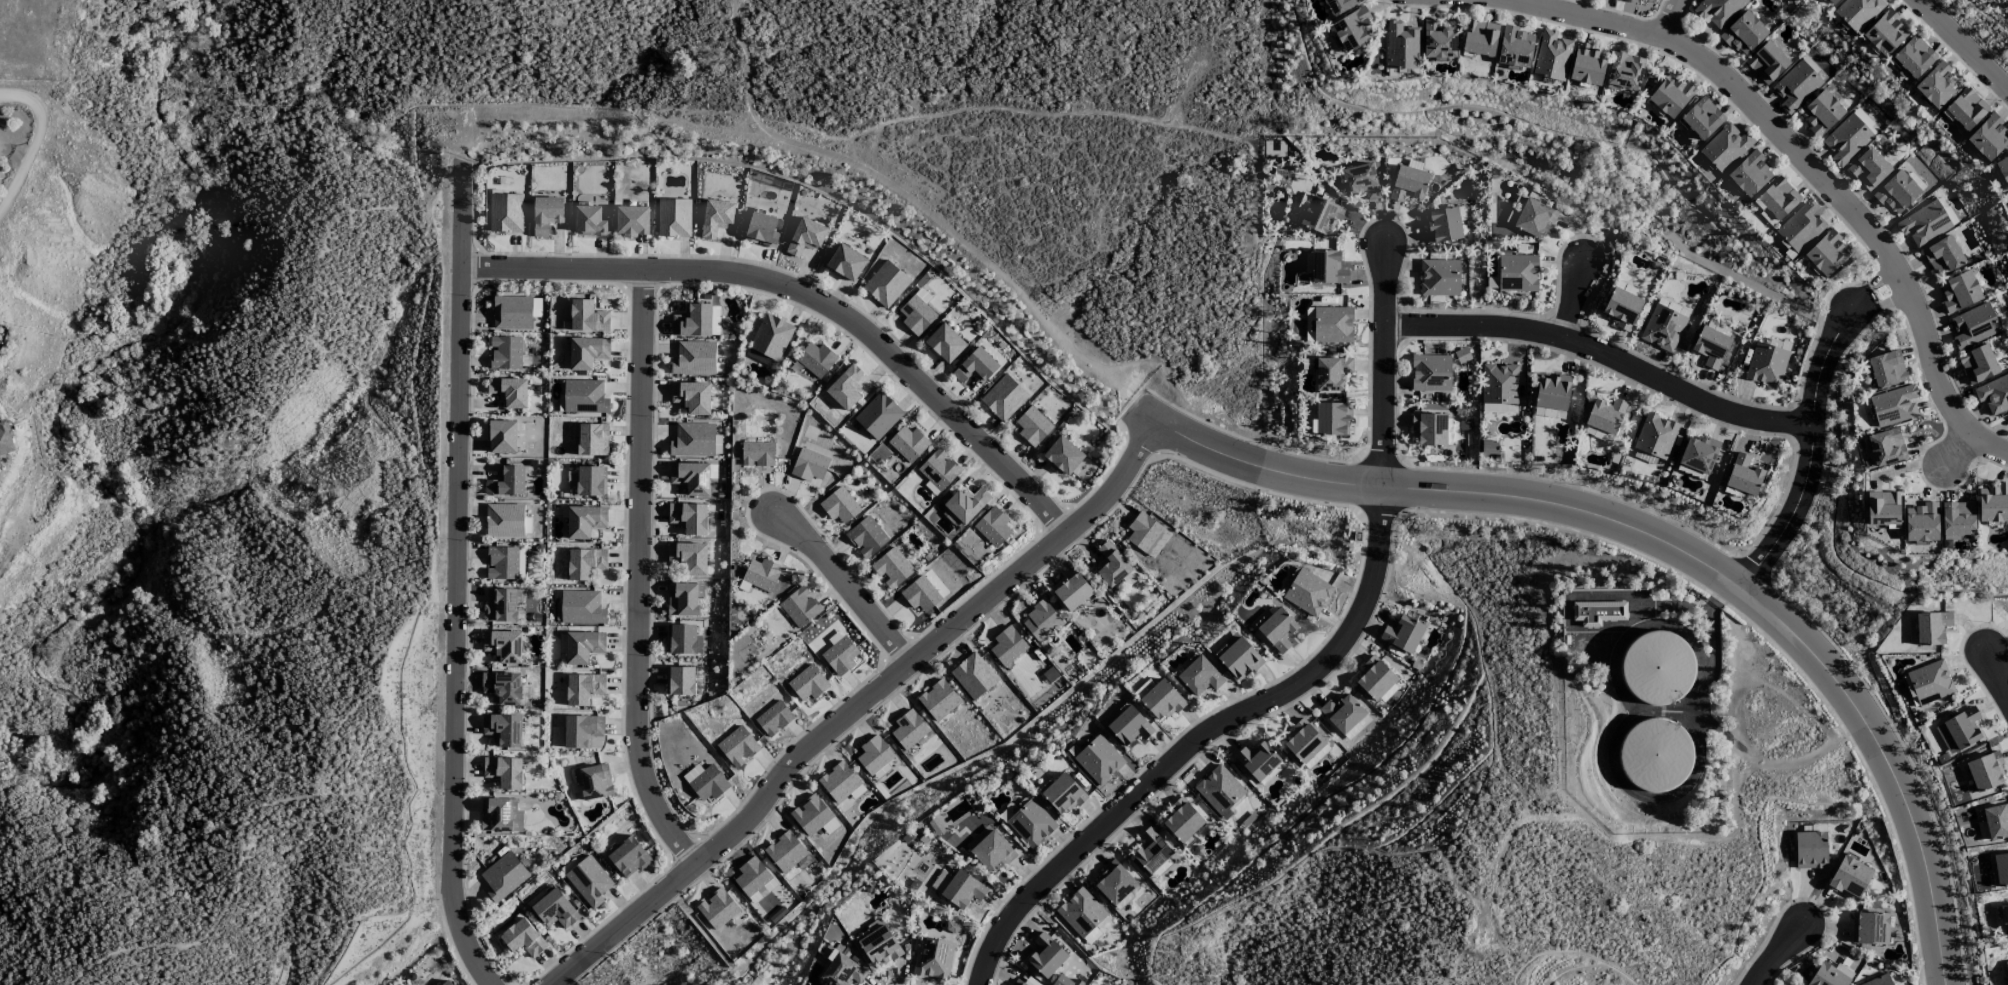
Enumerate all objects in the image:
building: (1600, 0)
building: (1631, 1)
building: (1650, 1)
building: (1830, 2)
building: (1339, 6)
building: (1718, 11)
building: (1857, 13)
road: (1669, 18)
building: (1352, 30)
building: (1743, 33)
building: (1885, 34)
building: (1480, 38)
building: (1438, 41)
building: (1402, 46)
road: (1962, 46)
building: (1514, 48)
building: (1551, 57)
building: (1914, 57)
building: (1767, 62)
building: (1587, 65)
building: (1814, 68)
building: (1625, 72)
building: (1935, 86)
building: (1795, 87)
building: (1670, 96)
road: (26, 99)
building: (1966, 109)
building: (1821, 113)
building: (1702, 119)
building: (1865, 121)
building: (1988, 138)
building: (1846, 140)
building: (1725, 148)
road: (35, 159)
road: (1806, 164)
building: (1868, 169)
building: (2002, 170)
building: (1749, 175)
building: (1360, 181)
building: (1915, 181)
building: (1408, 184)
building: (1897, 193)
building: (1775, 201)
road: (948, 210)
building: (505, 213)
building: (546, 214)
building: (1320, 215)
building: (716, 217)
building: (673, 218)
building: (1534, 218)
building: (588, 221)
building: (632, 221)
building: (1924, 224)
building: (1442, 225)
building: (1801, 227)
building: (761, 229)
building: (806, 237)
building: (1826, 254)
building: (1942, 256)
building: (846, 263)
building: (1327, 268)
building: (1517, 273)
building: (1439, 278)
building: (885, 284)
building: (1959, 292)
road: (1882, 294)
road: (810, 298)
road: (1573, 304)
building: (1621, 308)
building: (512, 313)
building: (916, 315)
building: (587, 317)
building: (692, 322)
building: (1332, 325)
building: (1973, 326)
building: (1662, 329)
building: (771, 337)
building: (945, 343)
building: (1710, 347)
building: (505, 353)
building: (587, 353)
building: (1462, 356)
road: (1604, 357)
building: (759, 358)
building: (694, 359)
building: (814, 360)
building: (1977, 364)
building: (1766, 365)
road: (1386, 366)
building: (975, 367)
building: (1886, 369)
building: (1430, 373)
building: (1331, 374)
building: (1499, 384)
building: (845, 388)
building: (509, 392)
building: (1552, 392)
building: (1993, 394)
building: (584, 397)
building: (692, 397)
building: (1003, 398)
building: (1894, 406)
building: (1498, 408)
building: (878, 416)
building: (1605, 416)
building: (1332, 419)
building: (1032, 427)
building: (1430, 430)
building: (1598, 434)
building: (1655, 436)
building: (502, 437)
building: (6, 439)
building: (591, 440)
building: (693, 440)
building: (908, 444)
building: (1489, 446)
building: (1885, 448)
road: (1815, 452)
road: (1961, 452)
building: (757, 454)
building: (1698, 454)
building: (1062, 456)
building: (1644, 457)
building: (809, 465)
building: (938, 469)
building: (1743, 476)
building: (690, 478)
building: (591, 481)
building: (506, 482)
building: (966, 504)
building: (1993, 504)
building: (839, 506)
building: (1883, 508)
building: (689, 518)
building: (1957, 520)
building: (504, 521)
building: (584, 521)
building: (1921, 524)
building: (992, 527)
building: (1146, 534)
building: (866, 537)
road: (1674, 548)
building: (688, 558)
building: (505, 563)
building: (585, 563)
building: (1111, 565)
building: (891, 568)
building: (761, 575)
road: (642, 579)
road: (459, 581)
road: (845, 584)
building: (1071, 592)
building: (1308, 593)
building: (920, 595)
building: (684, 599)
building: (502, 605)
building: (581, 607)
building: (800, 607)
building: (1598, 613)
building: (1041, 622)
building: (1931, 628)
building: (1277, 630)
building: (1403, 634)
building: (684, 640)
building: (503, 646)
building: (1007, 646)
building: (583, 647)
building: (839, 654)
building: (1239, 659)
building: (1656, 668)
building: (973, 676)
building: (1199, 677)
road: (1997, 677)
building: (1375, 679)
building: (681, 681)
building: (1927, 683)
building: (808, 684)
building: (502, 687)
building: (583, 689)
building: (938, 701)
building: (1161, 701)
road: (857, 706)
building: (1342, 713)
building: (774, 719)
building: (1129, 726)
building: (502, 730)
building: (908, 730)
building: (1958, 731)
building: (583, 732)
road: (1203, 738)
building: (1302, 742)
building: (737, 747)
building: (874, 755)
building: (1654, 756)
building: (1316, 757)
building: (1098, 760)
building: (1257, 761)
building: (504, 772)
building: (1985, 772)
building: (593, 782)
building: (705, 782)
building: (841, 783)
building: (1219, 791)
building: (1063, 794)
building: (500, 816)
building: (813, 817)
building: (1996, 821)
building: (1182, 822)
building: (1030, 824)
building: (989, 850)
building: (1810, 850)
building: (1151, 851)
building: (785, 852)
building: (627, 856)
building: (2001, 869)
building: (503, 877)
building: (1849, 878)
building: (754, 880)
building: (589, 881)
building: (1114, 883)
building: (962, 890)
building: (717, 909)
building: (555, 910)
building: (1081, 912)
building: (2004, 920)
building: (1869, 929)
building: (1092, 936)
building: (522, 938)
building: (879, 946)
building: (1045, 956)
road: (1777, 956)
building: (932, 958)
building: (2006, 970)
building: (842, 972)
building: (1830, 975)
building: (1066, 981)
building: (1879, 981)
building: (1025, 982)
building: (446, 983)

